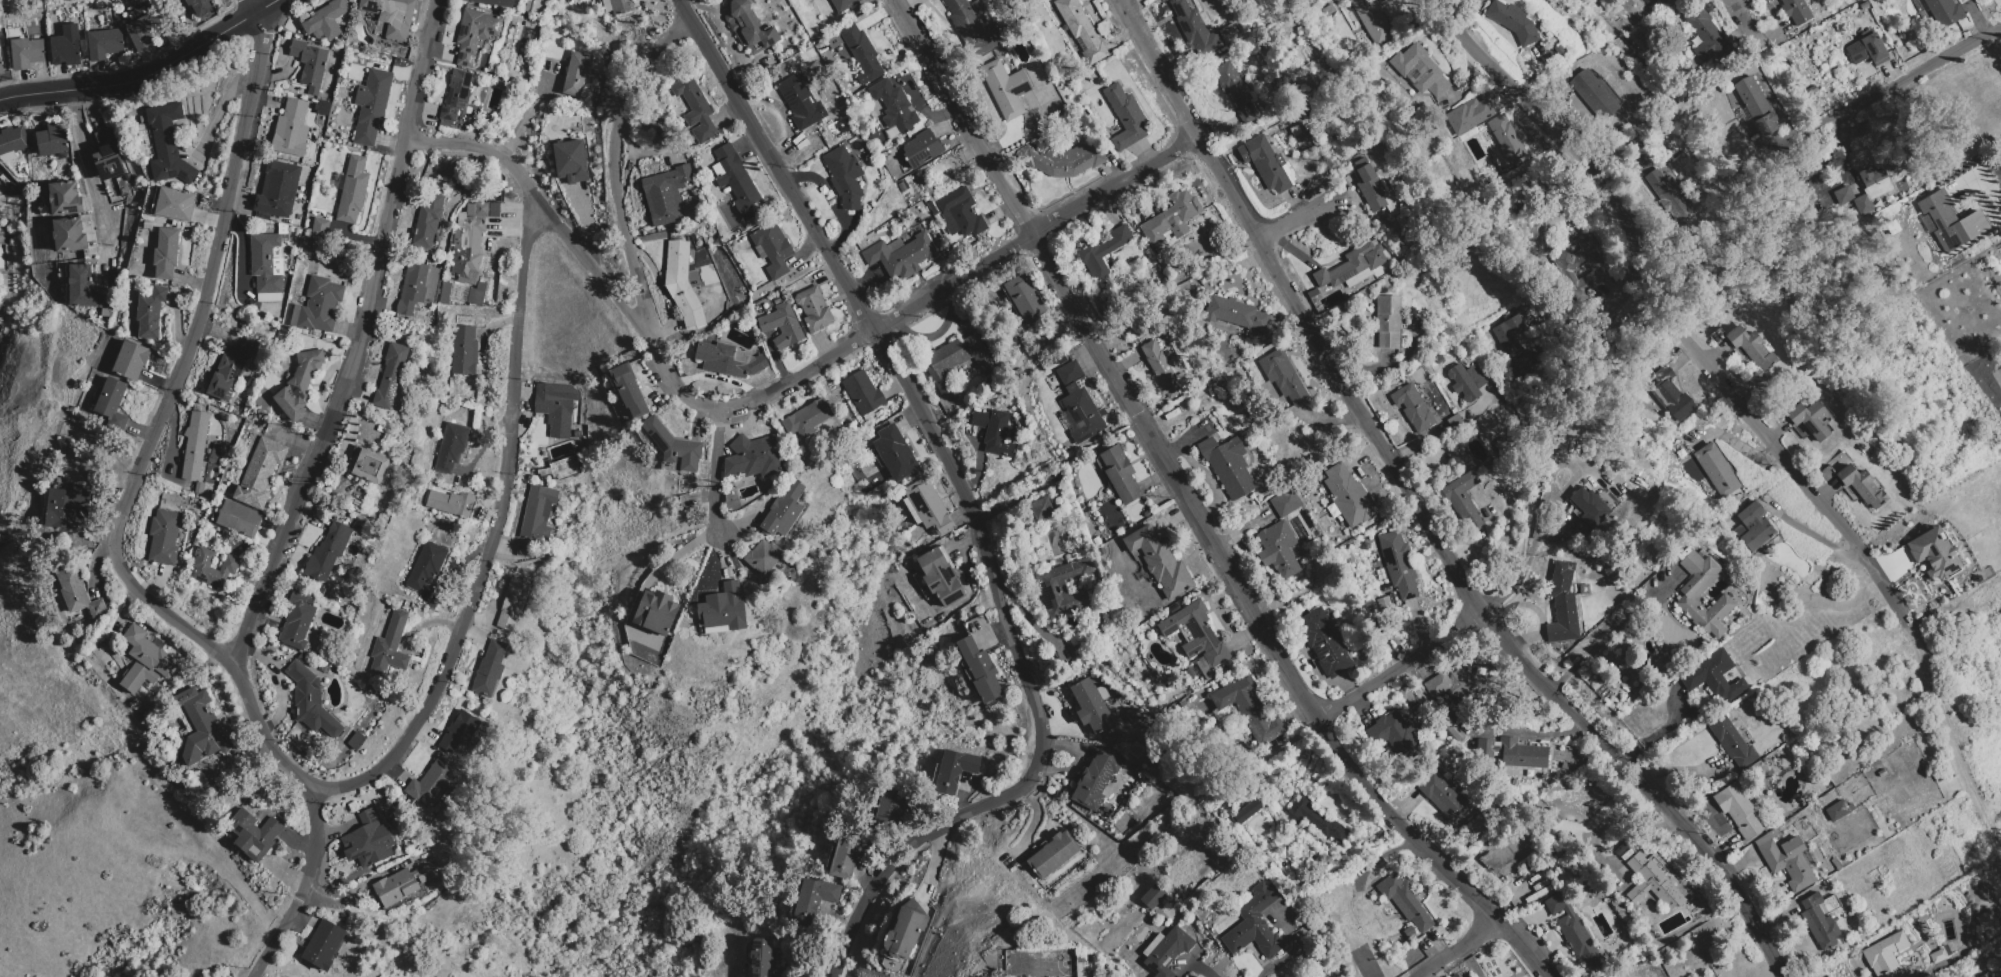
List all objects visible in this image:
building: (1470, 0)
building: (569, 1)
building: (1472, 1)
building: (494, 2)
building: (1666, 2)
building: (844, 4)
building: (527, 5)
building: (618, 6)
building: (201, 7)
building: (978, 7)
building: (1795, 11)
building: (1944, 12)
building: (392, 15)
building: (326, 20)
building: (1514, 21)
building: (1373, 22)
building: (748, 27)
building: (972, 27)
road: (1742, 27)
building: (1195, 29)
building: (1081, 30)
building: (143, 31)
building: (1228, 32)
building: (474, 34)
building: (1706, 35)
building: (104, 43)
building: (66, 46)
building: (1558, 50)
building: (1868, 50)
building: (27, 53)
building: (861, 53)
building: (309, 64)
building: (1, 68)
building: (1420, 70)
road: (146, 74)
building: (575, 74)
building: (1006, 88)
building: (1812, 89)
road: (1885, 90)
building: (1236, 91)
building: (1595, 94)
building: (456, 95)
building: (556, 99)
building: (801, 102)
building: (371, 105)
building: (894, 106)
building: (323, 107)
building: (695, 108)
building: (1758, 112)
road: (217, 114)
building: (1469, 115)
building: (1125, 116)
building: (291, 129)
building: (1295, 131)
building: (52, 139)
building: (1506, 139)
building: (12, 143)
building: (168, 145)
building: (921, 148)
building: (743, 149)
building: (107, 155)
building: (1061, 159)
building: (570, 161)
road: (616, 162)
building: (1265, 163)
road: (90, 170)
road: (1975, 170)
building: (128, 177)
building: (844, 177)
building: (737, 181)
building: (1875, 182)
building: (902, 187)
building: (1371, 187)
building: (278, 188)
building: (353, 189)
building: (666, 194)
building: (1671, 195)
building: (64, 199)
building: (173, 203)
building: (929, 204)
building: (963, 211)
building: (1172, 218)
road: (1297, 219)
building: (427, 220)
building: (1950, 221)
building: (147, 225)
building: (1892, 227)
building: (282, 228)
building: (320, 228)
building: (950, 228)
building: (68, 235)
building: (284, 238)
building: (471, 246)
building: (773, 248)
building: (1159, 249)
building: (1103, 251)
building: (166, 254)
road: (583, 254)
building: (900, 255)
building: (267, 263)
building: (1352, 264)
building: (1578, 266)
road: (961, 280)
building: (683, 285)
road: (207, 287)
building: (84, 288)
building: (412, 288)
building: (1313, 293)
building: (1026, 299)
building: (318, 306)
building: (814, 309)
building: (717, 311)
building: (151, 312)
building: (106, 313)
building: (1236, 313)
road: (1659, 313)
building: (1388, 322)
building: (782, 326)
road: (359, 340)
building: (1514, 343)
building: (1167, 344)
building: (1745, 346)
building: (464, 350)
building: (954, 359)
building: (1060, 359)
building: (1438, 359)
building: (131, 360)
building: (728, 360)
building: (1177, 366)
building: (231, 368)
building: (1161, 371)
building: (390, 376)
building: (1283, 376)
building: (1467, 380)
building: (299, 385)
building: (629, 390)
building: (863, 394)
building: (1668, 394)
building: (112, 402)
building: (1079, 404)
building: (556, 406)
building: (1413, 407)
building: (1812, 418)
building: (806, 420)
building: (1454, 421)
building: (994, 431)
building: (195, 445)
building: (451, 446)
building: (673, 446)
building: (217, 451)
building: (894, 453)
building: (755, 456)
building: (213, 459)
building: (368, 464)
building: (1228, 465)
building: (557, 468)
building: (1716, 469)
building: (260, 473)
building: (1120, 475)
road: (719, 476)
building: (1857, 484)
building: (1349, 497)
building: (1463, 499)
building: (449, 500)
building: (1285, 502)
road: (972, 504)
building: (65, 505)
building: (784, 508)
building: (927, 508)
building: (1041, 509)
road: (1194, 509)
road: (1420, 512)
building: (1588, 512)
building: (538, 513)
building: (239, 519)
building: (1752, 527)
road: (491, 528)
road: (1517, 536)
building: (164, 537)
road: (1815, 538)
building: (1096, 542)
building: (1365, 546)
building: (525, 549)
building: (1278, 549)
building: (1653, 549)
building: (1100, 551)
building: (328, 552)
building: (1934, 553)
building: (763, 556)
building: (1160, 562)
building: (427, 565)
road: (663, 565)
building: (1399, 565)
building: (202, 567)
building: (940, 577)
building: (1384, 586)
building: (1064, 587)
building: (1583, 589)
building: (1690, 591)
building: (79, 593)
building: (513, 603)
building: (1384, 604)
building: (1562, 604)
building: (723, 609)
building: (655, 612)
building: (298, 620)
road: (1613, 628)
building: (1196, 633)
building: (1324, 643)
building: (390, 645)
building: (145, 660)
building: (1661, 663)
road: (229, 666)
building: (490, 669)
building: (980, 670)
building: (1713, 677)
building: (1460, 685)
building: (311, 700)
building: (1091, 705)
building: (1249, 708)
building: (1133, 715)
road: (1051, 724)
building: (198, 727)
building: (1453, 729)
road: (1660, 730)
building: (460, 731)
road: (1078, 731)
road: (1530, 734)
building: (1393, 736)
road: (1950, 736)
building: (1731, 742)
building: (1513, 752)
building: (953, 770)
building: (1529, 773)
building: (1881, 773)
building: (1446, 775)
building: (1095, 779)
building: (1515, 782)
building: (433, 783)
building: (1443, 798)
building: (1738, 810)
building: (1838, 810)
building: (890, 811)
building: (1249, 811)
building: (1551, 818)
building: (1314, 819)
building: (253, 834)
building: (368, 840)
building: (847, 854)
building: (1053, 854)
building: (1786, 861)
building: (1652, 876)
building: (402, 883)
road: (301, 891)
building: (1538, 893)
building: (1153, 896)
building: (814, 898)
building: (1404, 900)
building: (1821, 920)
building: (1255, 924)
building: (1988, 924)
building: (905, 930)
building: (1409, 931)
building: (1574, 932)
building: (324, 945)
road: (1456, 950)
building: (1947, 950)
building: (1166, 951)
building: (759, 956)
building: (1937, 956)
building: (1888, 957)
building: (1985, 974)

